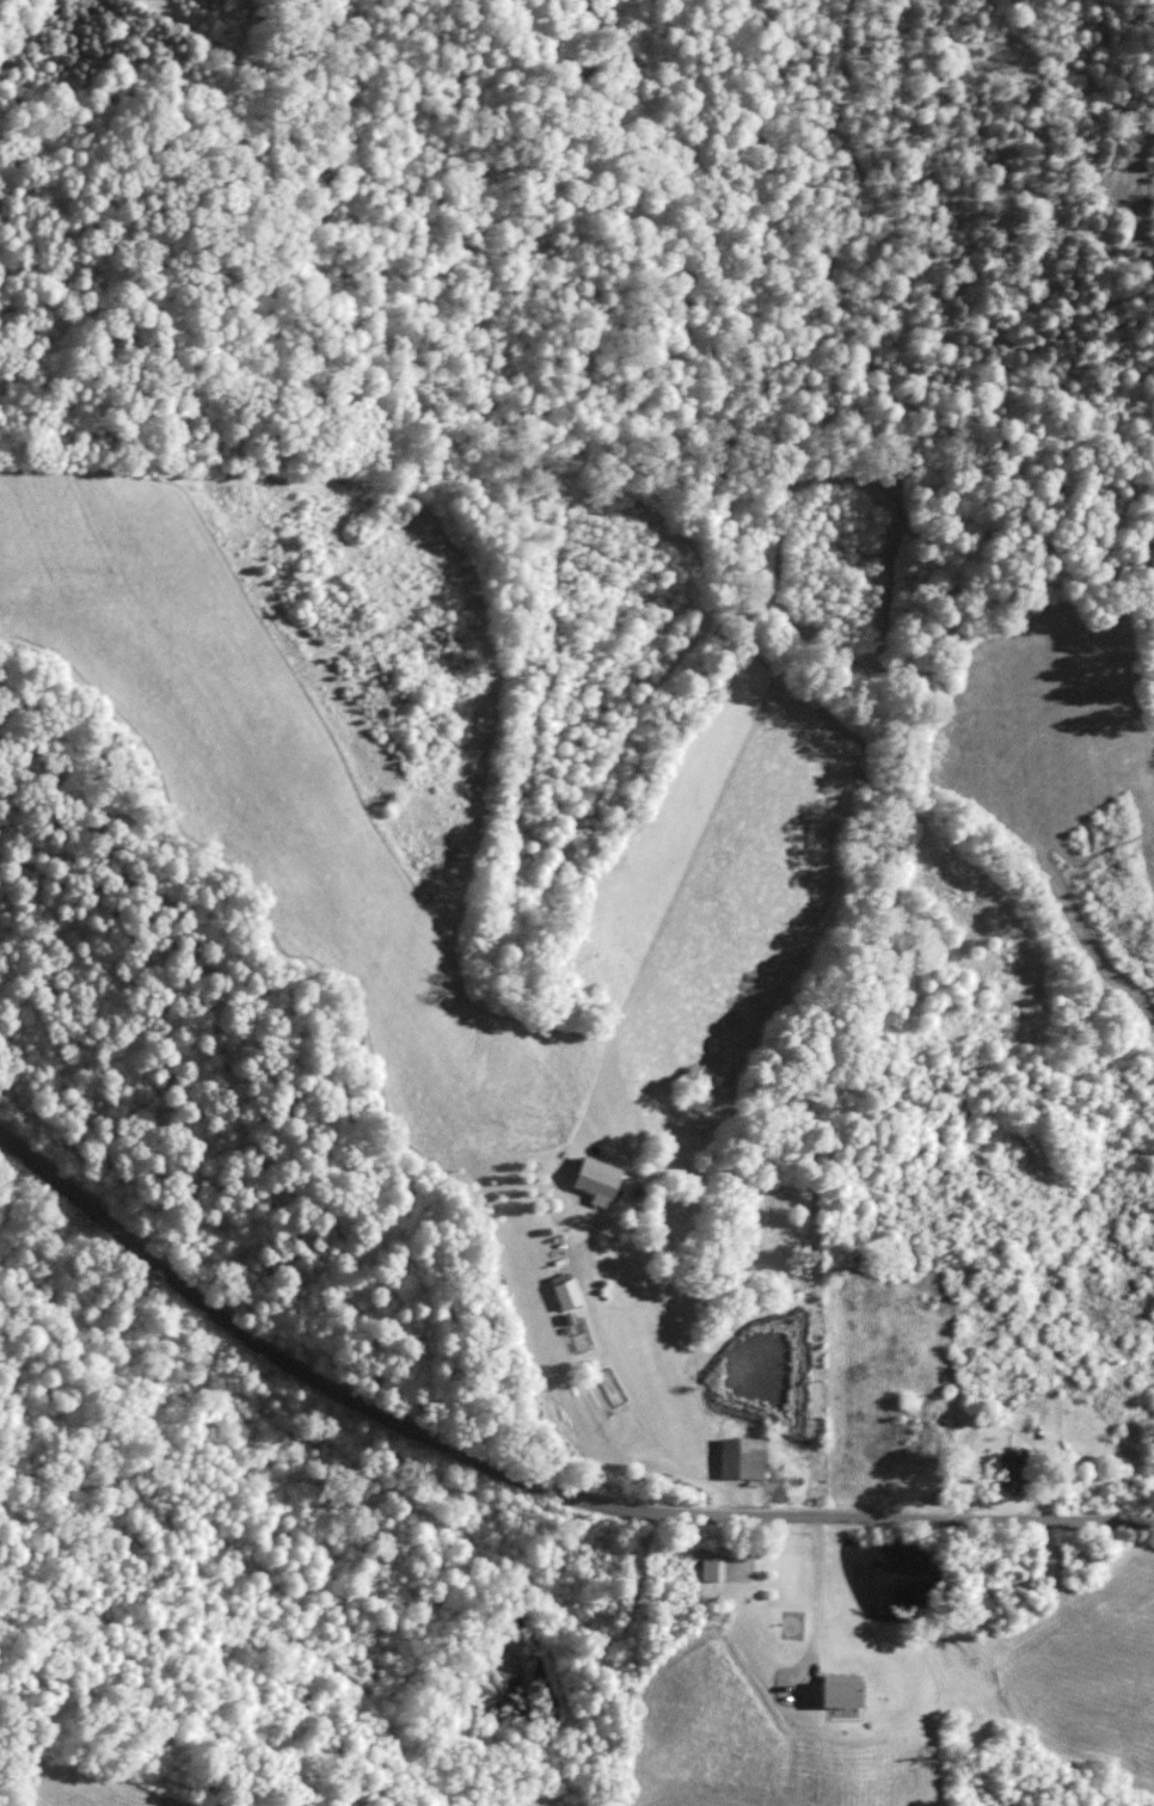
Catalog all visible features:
building: (596, 1181)
building: (566, 1295)
road: (646, 1414)
road: (998, 1427)
building: (743, 1460)
building: (1006, 1474)
road: (524, 1482)
road: (748, 1544)
building: (714, 1568)
road: (816, 1602)
building: (842, 1695)

